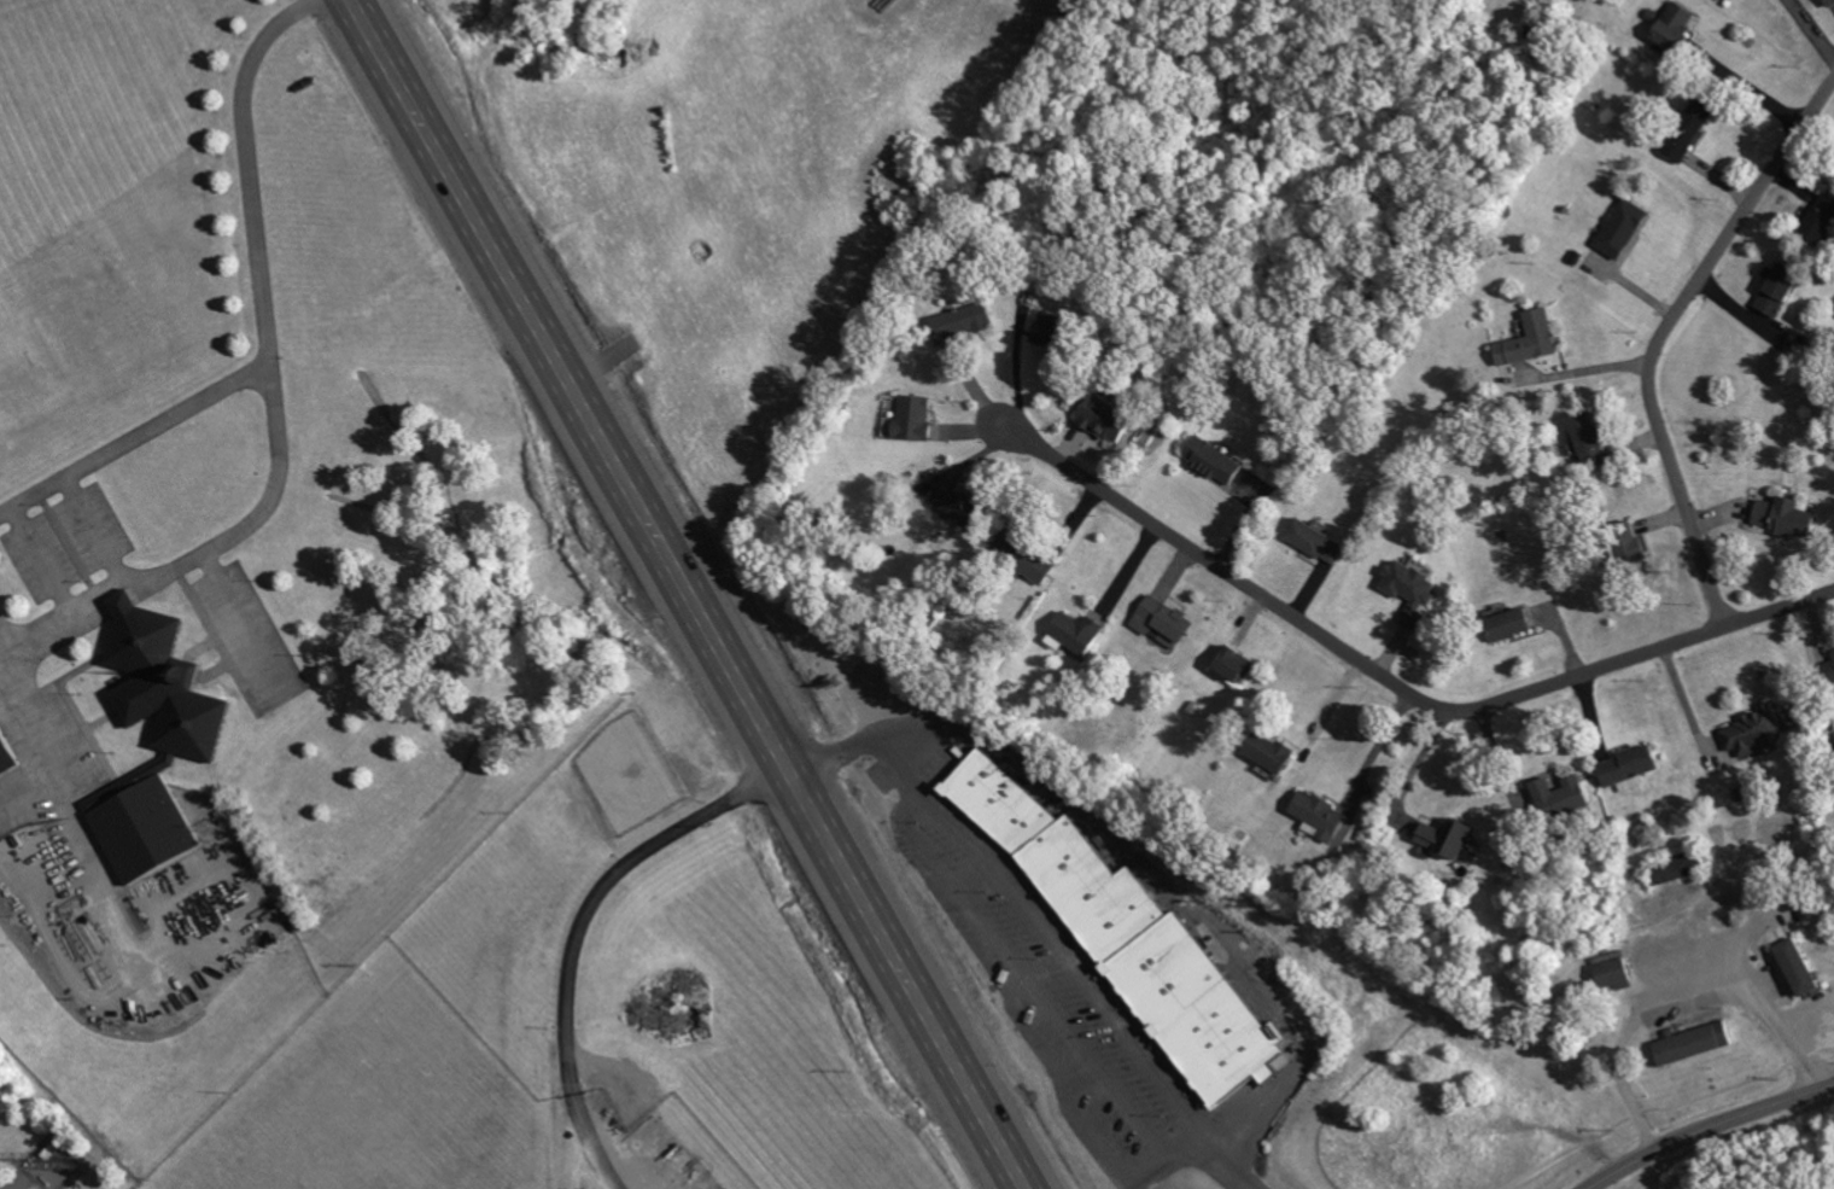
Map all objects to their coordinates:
building: (1832, 4)
building: (1678, 29)
road: (1811, 30)
road: (1750, 89)
building: (1690, 130)
building: (1823, 217)
building: (1624, 229)
building: (1782, 290)
building: (964, 324)
building: (1052, 333)
road: (1661, 334)
building: (1532, 340)
road: (1590, 369)
road: (270, 402)
building: (915, 418)
building: (1110, 419)
road: (133, 436)
building: (1593, 441)
building: (1222, 465)
building: (962, 509)
building: (1788, 518)
building: (1319, 542)
building: (1027, 560)
road: (42, 564)
building: (1415, 590)
road: (689, 593)
building: (1164, 623)
building: (1514, 625)
building: (1079, 633)
building: (1238, 665)
building: (1830, 671)
building: (173, 684)
road: (1392, 688)
building: (1753, 734)
road: (51, 747)
building: (1273, 753)
building: (7, 756)
road: (1413, 763)
building: (1631, 765)
building: (1746, 794)
building: (1321, 812)
building: (148, 830)
building: (1448, 838)
road: (1172, 891)
road: (1038, 925)
road: (578, 929)
parking lot: (1040, 957)
building: (1801, 968)
building: (1616, 974)
building: (1150, 980)
road: (1675, 993)
road: (1709, 1129)

